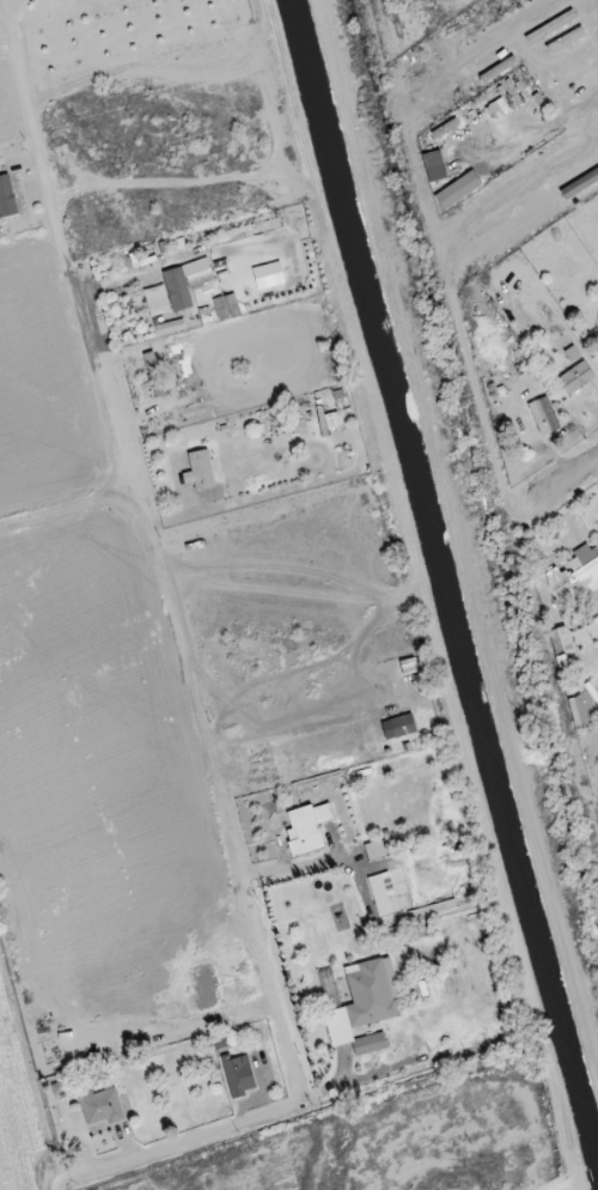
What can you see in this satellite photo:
building: (550, 26)
building: (563, 42)
building: (572, 65)
road: (590, 90)
building: (434, 165)
building: (457, 189)
building: (7, 198)
building: (187, 283)
building: (226, 306)
building: (170, 327)
building: (574, 372)
building: (153, 375)
building: (543, 415)
building: (200, 470)
road: (574, 473)
building: (576, 579)
building: (560, 639)
road: (187, 686)
building: (582, 711)
building: (402, 725)
building: (307, 828)
building: (374, 849)
building: (380, 894)
building: (362, 1004)
building: (238, 1075)
building: (61, 1082)
building: (100, 1107)

